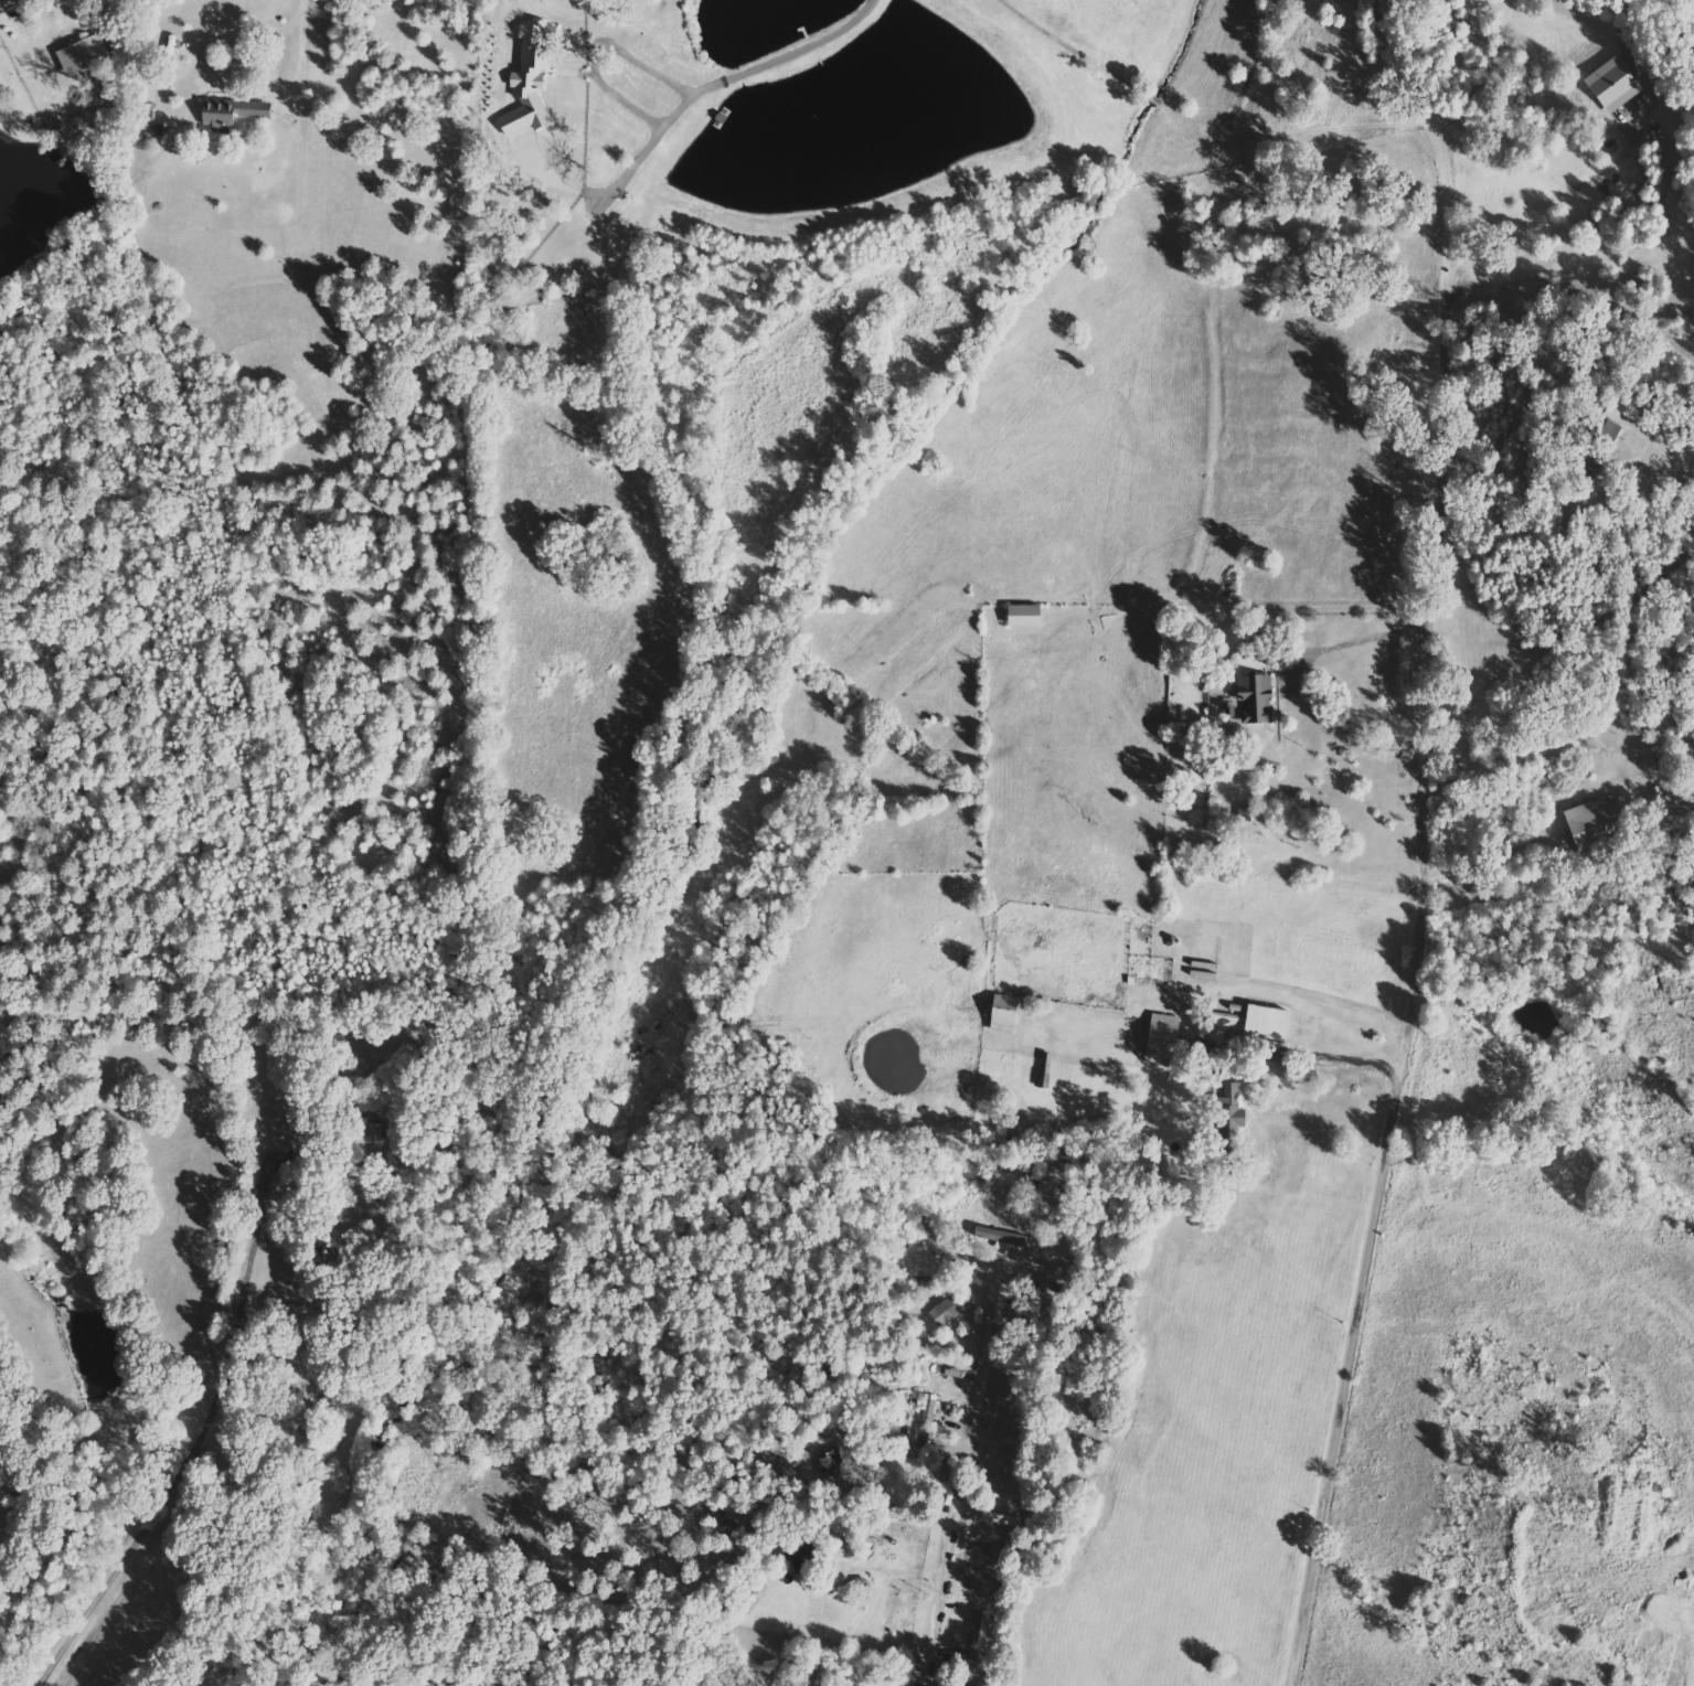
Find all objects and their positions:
building: (86, 55)
building: (534, 78)
building: (237, 115)
building: (1594, 431)
building: (1020, 616)
building: (1251, 698)
building: (1588, 822)
building: (1254, 1022)
building: (1158, 1036)
building: (1225, 1109)
building: (997, 1236)
building: (944, 1312)
road: (1360, 1320)
building: (923, 1419)
road: (958, 1497)
building: (995, 1519)
building: (886, 1612)
building: (811, 1678)

